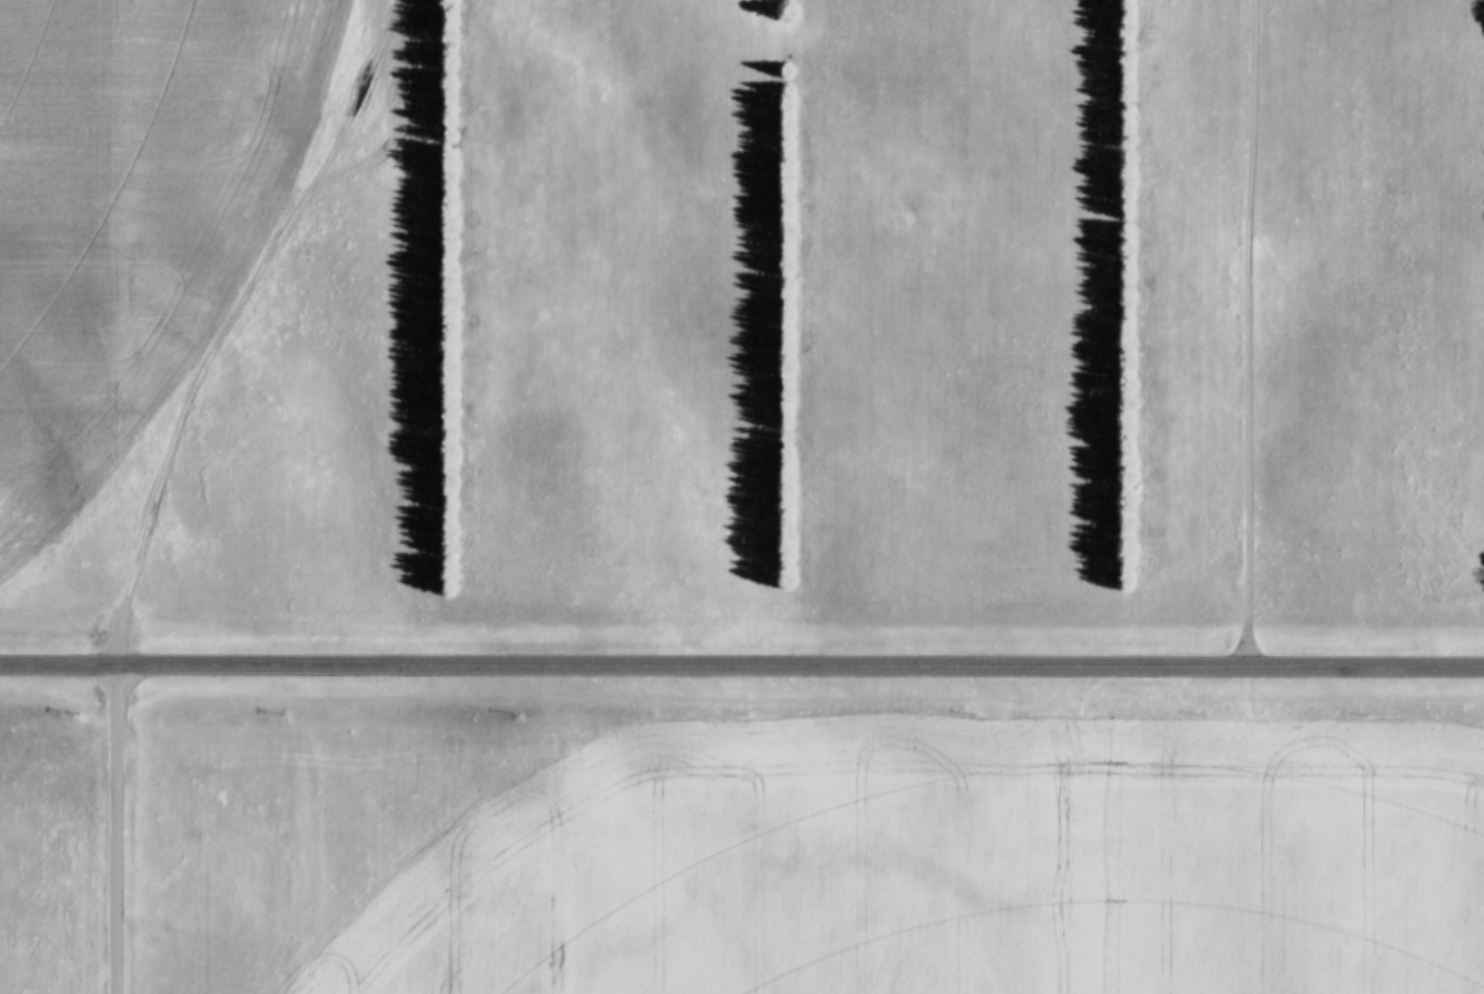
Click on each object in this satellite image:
road: (1246, 332)
road: (741, 664)
road: (113, 828)

